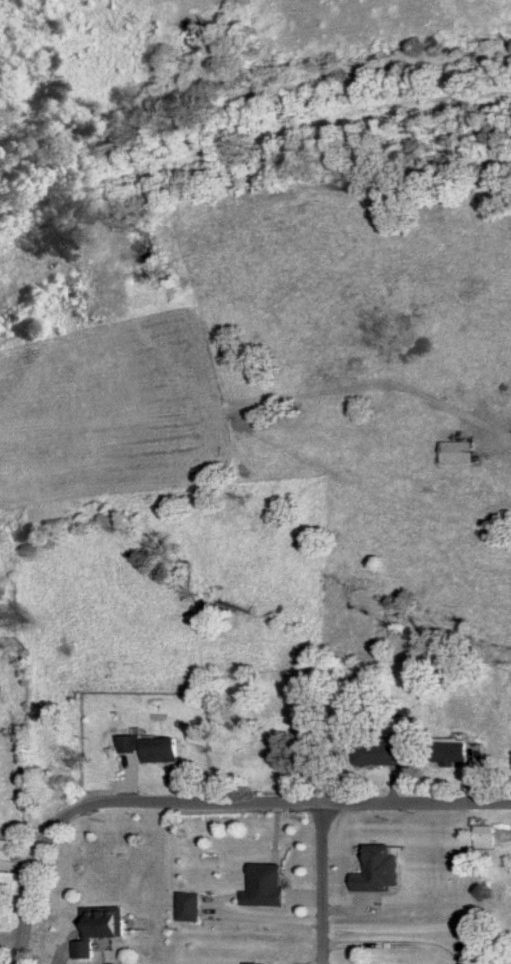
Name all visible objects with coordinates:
building: (463, 391)
building: (455, 451)
building: (508, 457)
building: (150, 748)
building: (451, 751)
building: (379, 753)
road: (206, 801)
building: (485, 837)
road: (318, 882)
building: (265, 886)
building: (188, 907)
building: (99, 928)
building: (257, 963)

